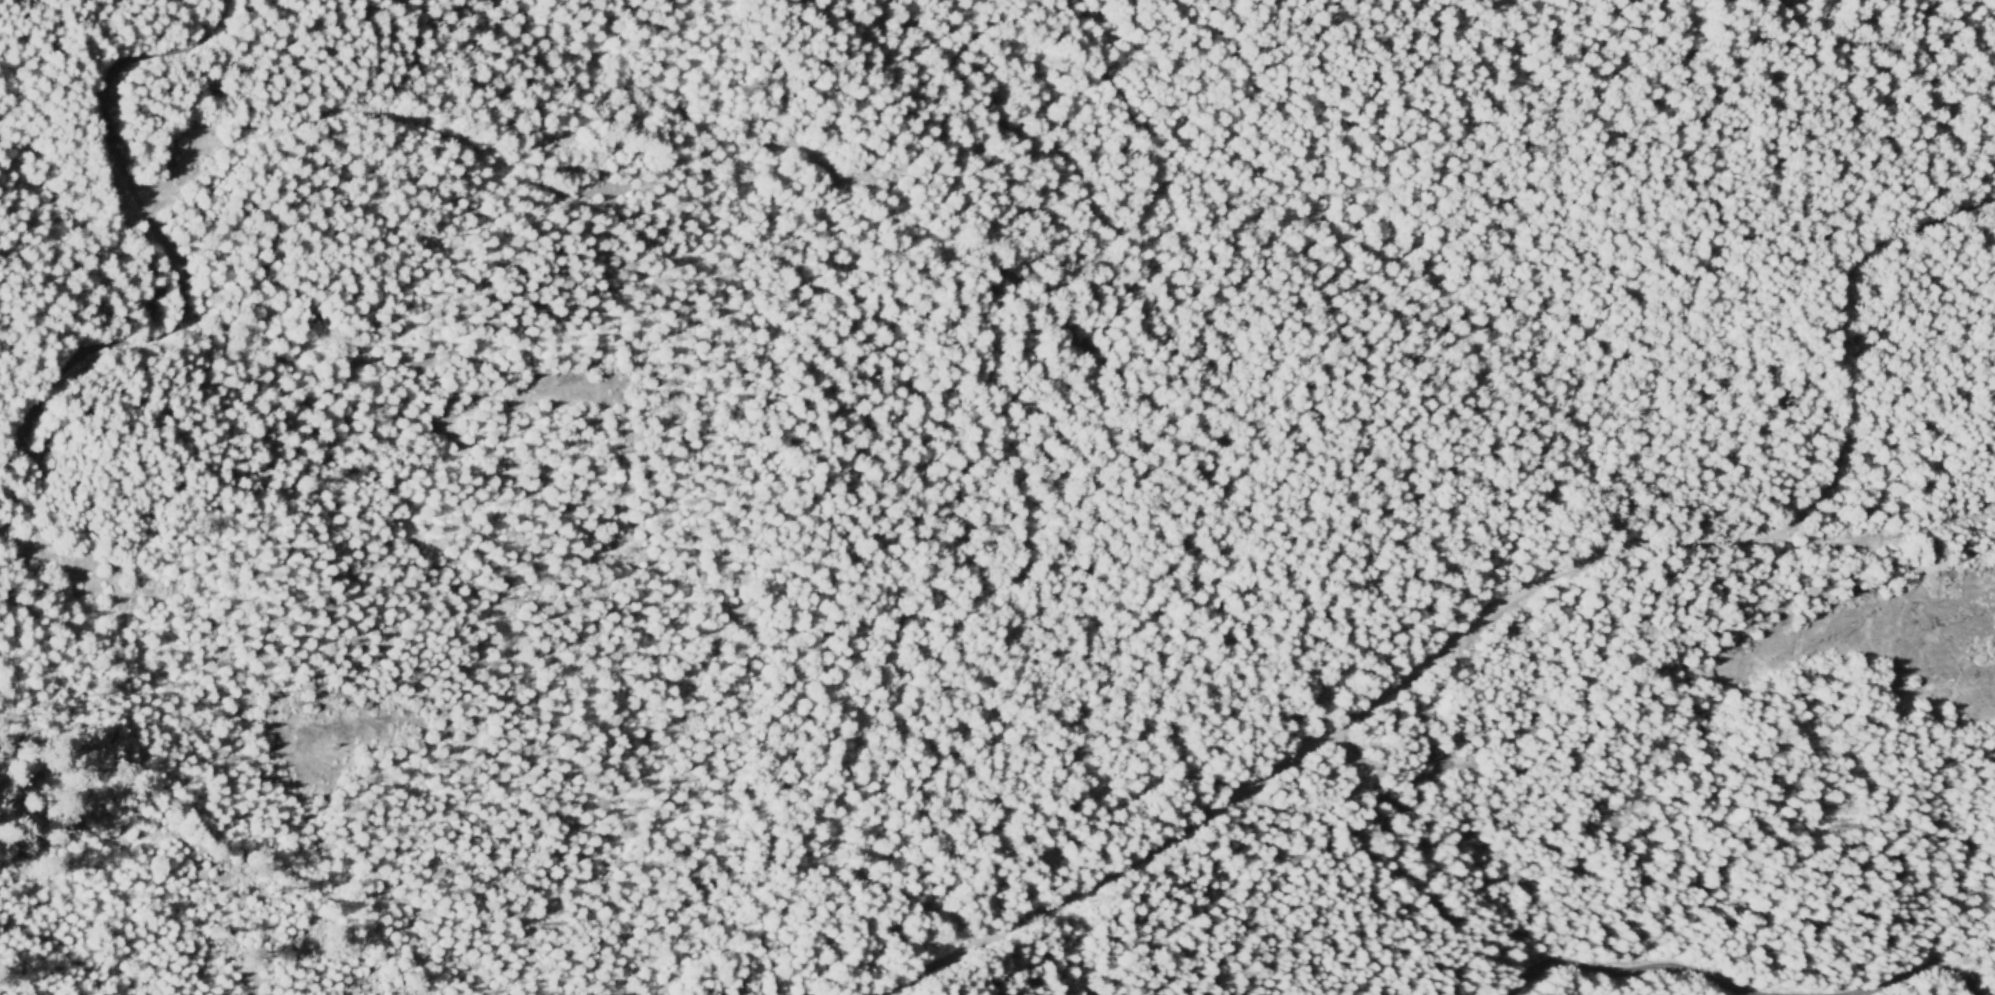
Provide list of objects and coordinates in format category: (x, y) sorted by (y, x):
road: (163, 286)
road: (1452, 624)
road: (1742, 983)

